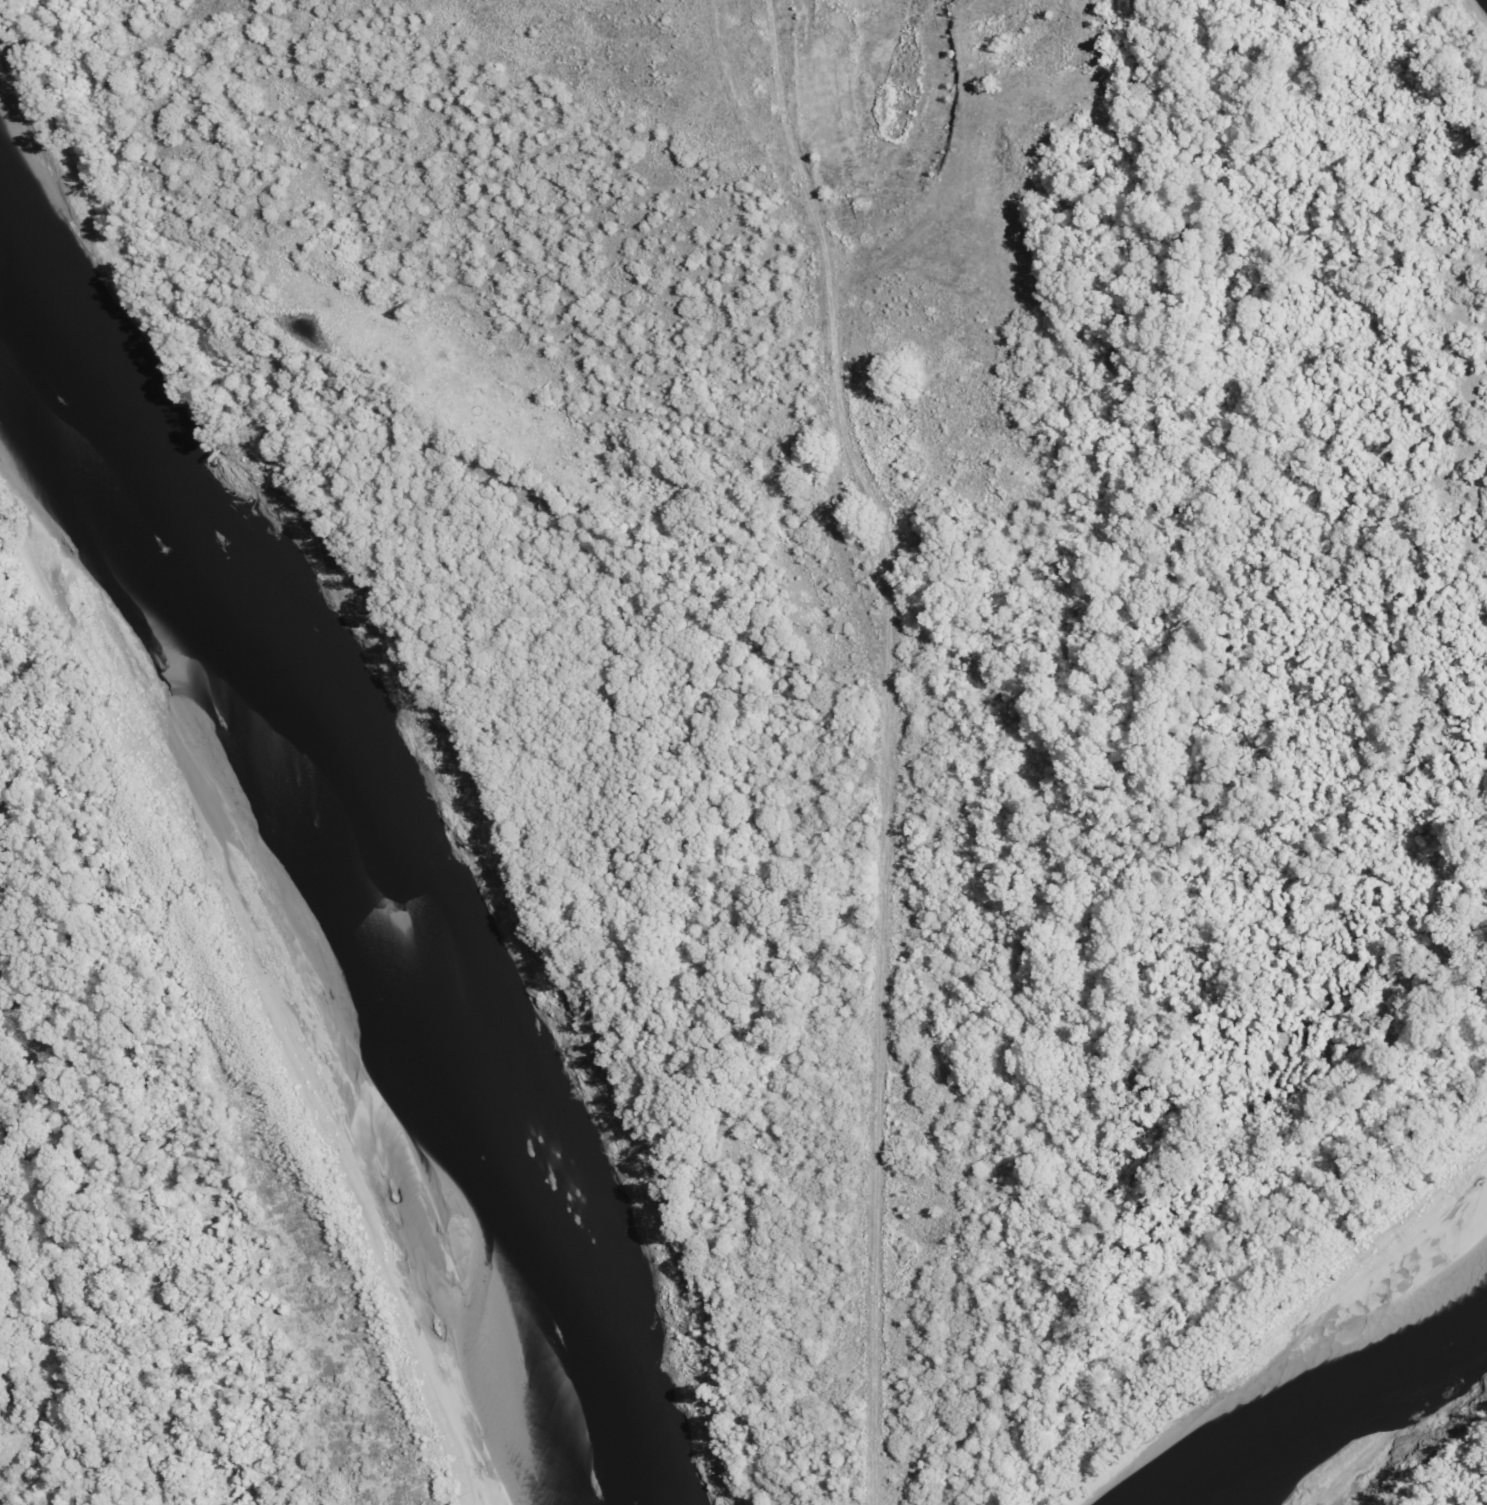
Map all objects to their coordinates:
river: (19, 381)
road: (886, 719)
river: (342, 952)
river: (1312, 1371)

